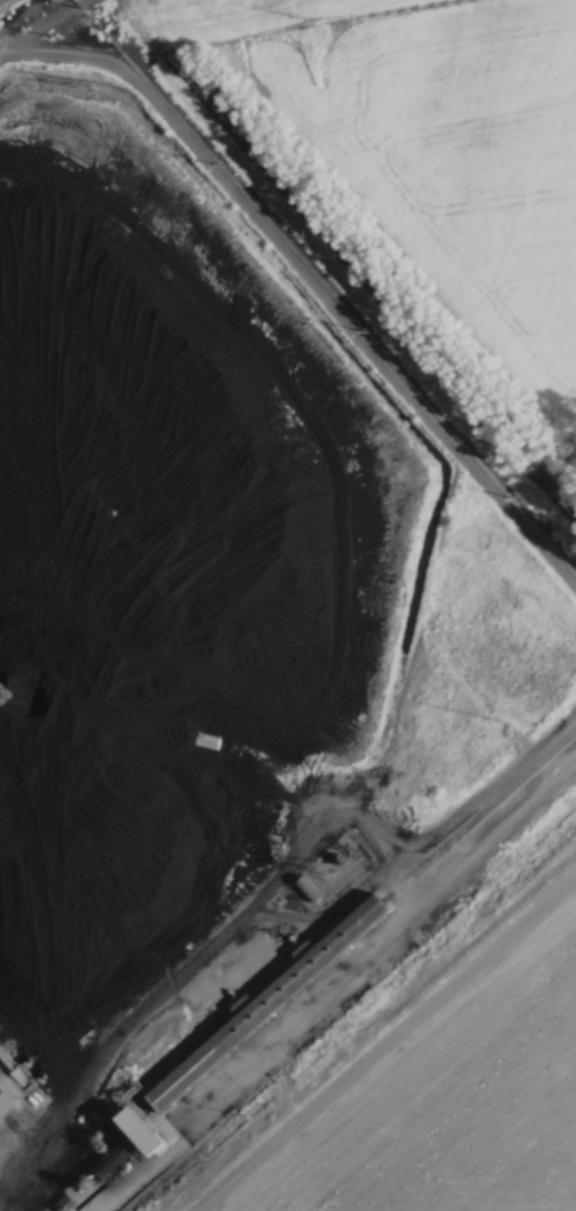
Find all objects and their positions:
power tower: (85, 7)
power tower: (319, 18)
power plant: (257, 700)
railway: (300, 968)
road: (352, 989)
building: (263, 996)
building: (2, 1105)

